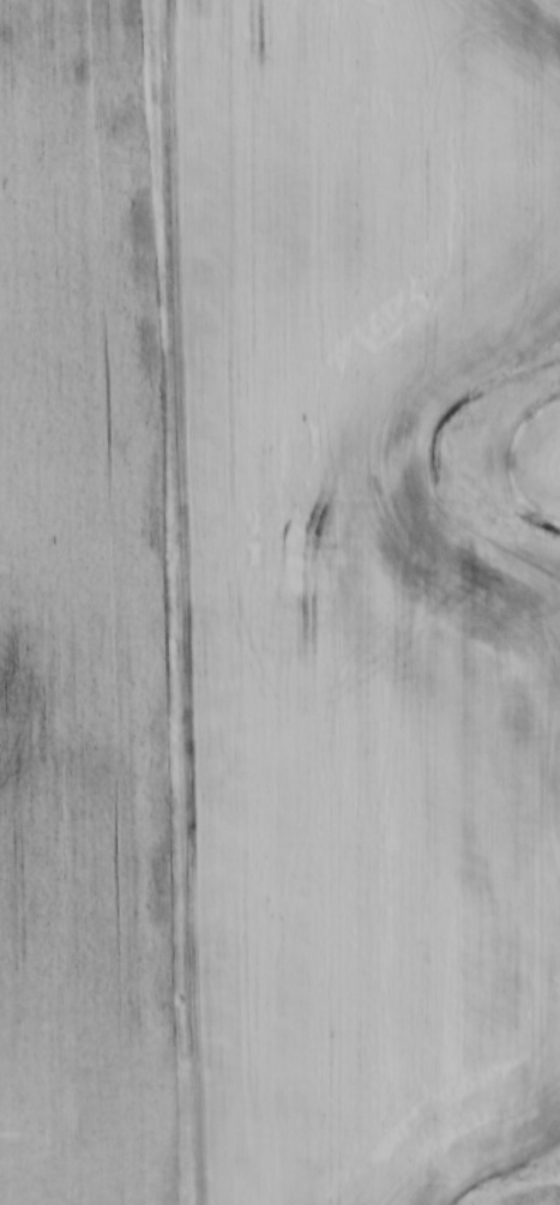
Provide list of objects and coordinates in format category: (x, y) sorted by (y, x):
road: (179, 602)

